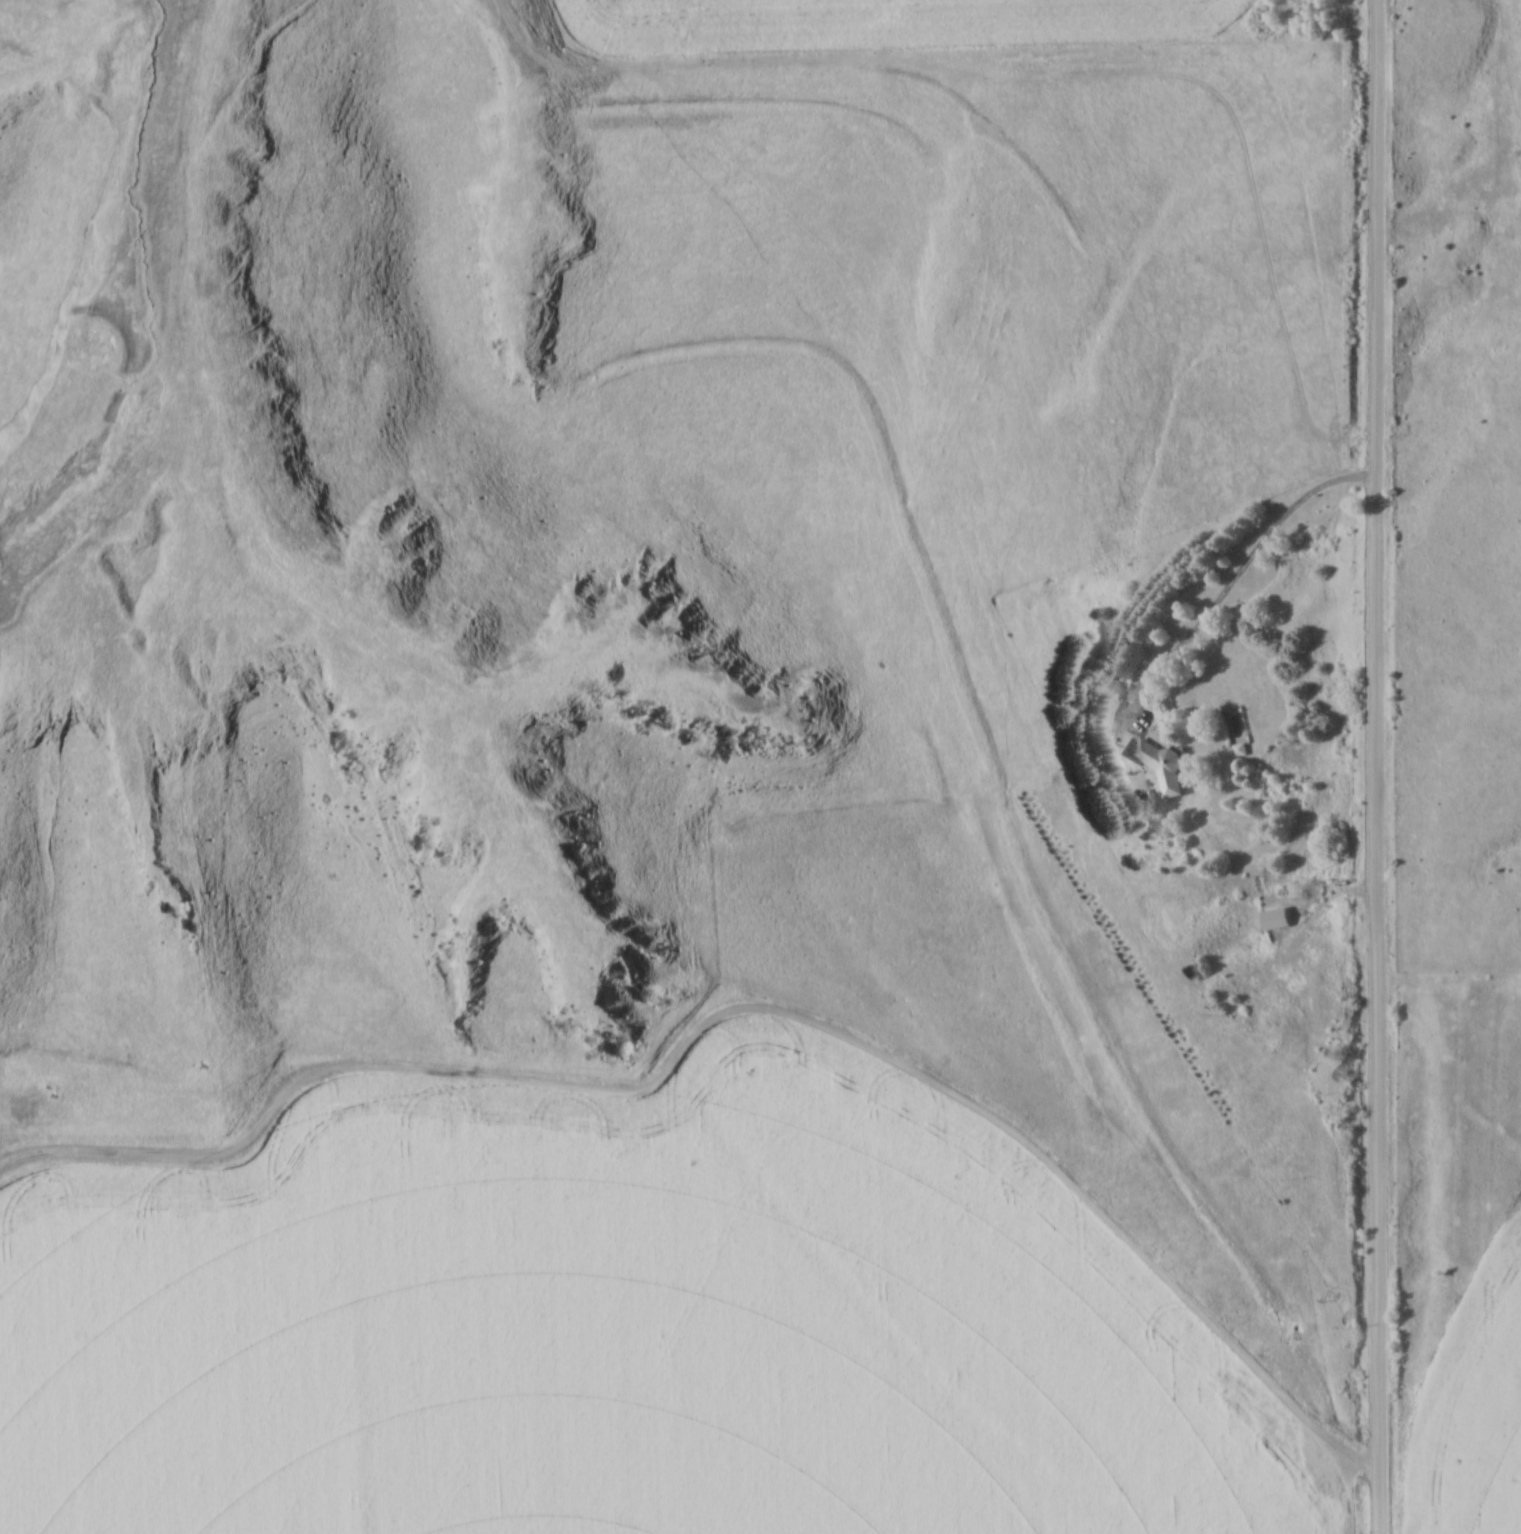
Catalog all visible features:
road: (1237, 580)
building: (1163, 766)
road: (1378, 766)
building: (1275, 920)

